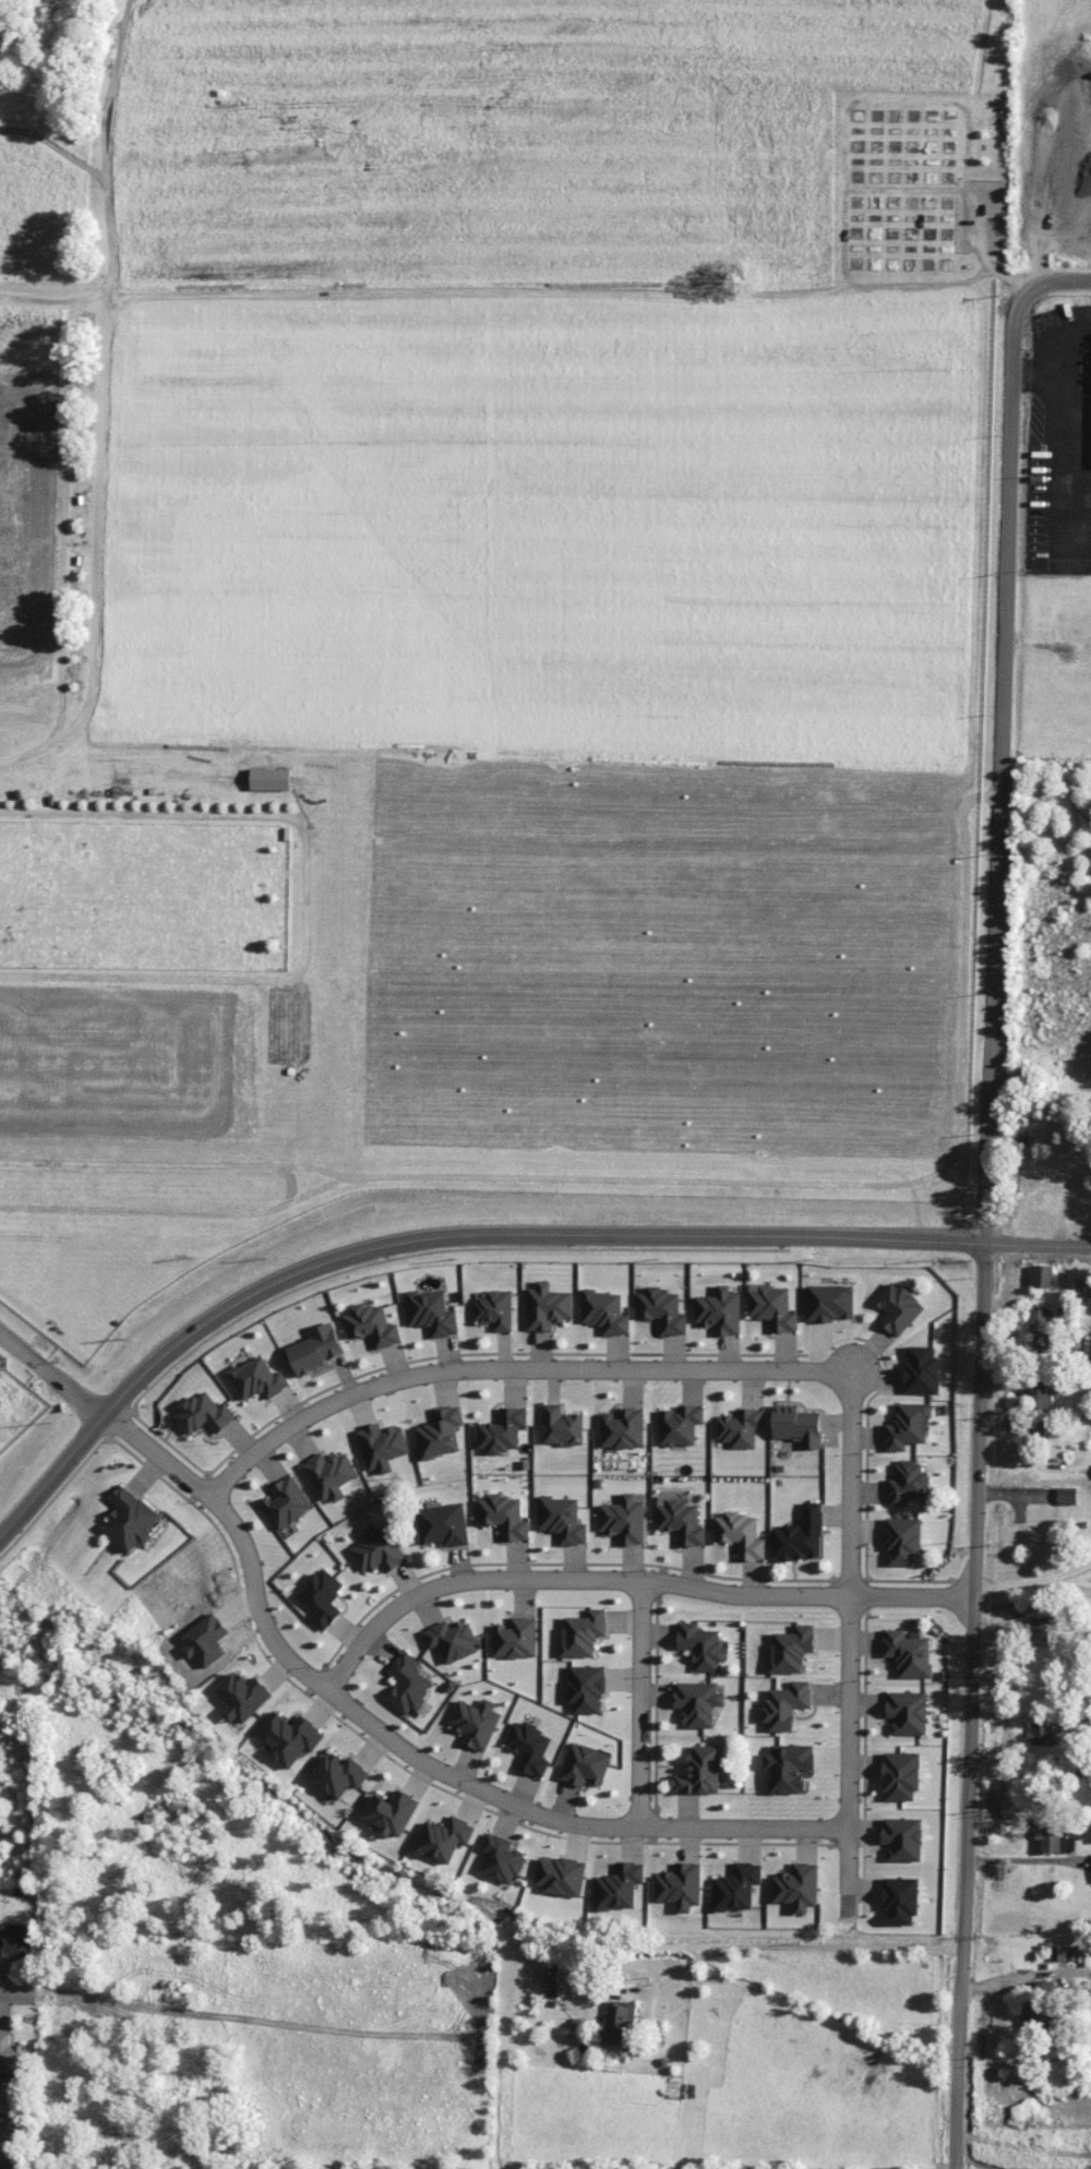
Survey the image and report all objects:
road: (105, 197)
road: (1057, 279)
road: (62, 520)
road: (93, 549)
park: (479, 627)
road: (1000, 767)
building: (271, 778)
road: (304, 898)
road: (173, 1163)
road: (477, 1177)
road: (515, 1232)
road: (1038, 1243)
building: (1041, 1275)
building: (829, 1302)
building: (547, 1306)
building: (772, 1306)
building: (898, 1307)
building: (494, 1309)
building: (661, 1309)
building: (719, 1310)
building: (431, 1311)
building: (603, 1311)
building: (371, 1325)
building: (1039, 1330)
building: (315, 1347)
road: (509, 1369)
building: (922, 1369)
road: (51, 1375)
building: (256, 1378)
building: (1039, 1404)
building: (203, 1413)
building: (561, 1425)
building: (680, 1425)
building: (798, 1425)
building: (908, 1426)
building: (622, 1427)
building: (741, 1427)
building: (502, 1430)
building: (440, 1431)
building: (381, 1446)
building: (329, 1474)
road: (51, 1477)
building: (908, 1482)
building: (1067, 1495)
building: (286, 1501)
building: (504, 1515)
building: (624, 1518)
building: (131, 1519)
building: (562, 1519)
building: (681, 1521)
building: (443, 1524)
building: (741, 1534)
building: (800, 1535)
building: (902, 1539)
building: (377, 1548)
road: (628, 1579)
building: (321, 1597)
building: (1039, 1630)
building: (583, 1632)
building: (515, 1638)
road: (849, 1638)
building: (451, 1640)
building: (702, 1645)
building: (791, 1649)
building: (909, 1653)
building: (407, 1683)
building: (586, 1688)
building: (241, 1695)
building: (697, 1702)
road: (642, 1703)
building: (786, 1704)
road: (970, 1705)
building: (907, 1712)
building: (475, 1723)
building: (1041, 1733)
building: (288, 1737)
road: (401, 1747)
building: (529, 1747)
building: (585, 1764)
building: (788, 1766)
building: (699, 1771)
building: (338, 1774)
building: (900, 1775)
building: (391, 1812)
building: (443, 1838)
building: (902, 1838)
building: (1053, 1841)
building: (501, 1858)
building: (561, 1876)
building: (619, 1885)
building: (680, 1885)
building: (736, 1886)
building: (796, 1886)
building: (900, 1900)
road: (799, 1946)
building: (1058, 1952)
building: (551, 1979)
road: (19, 1992)
building: (1039, 2004)
building: (618, 2023)
building: (8, 2053)
building: (8, 2167)

